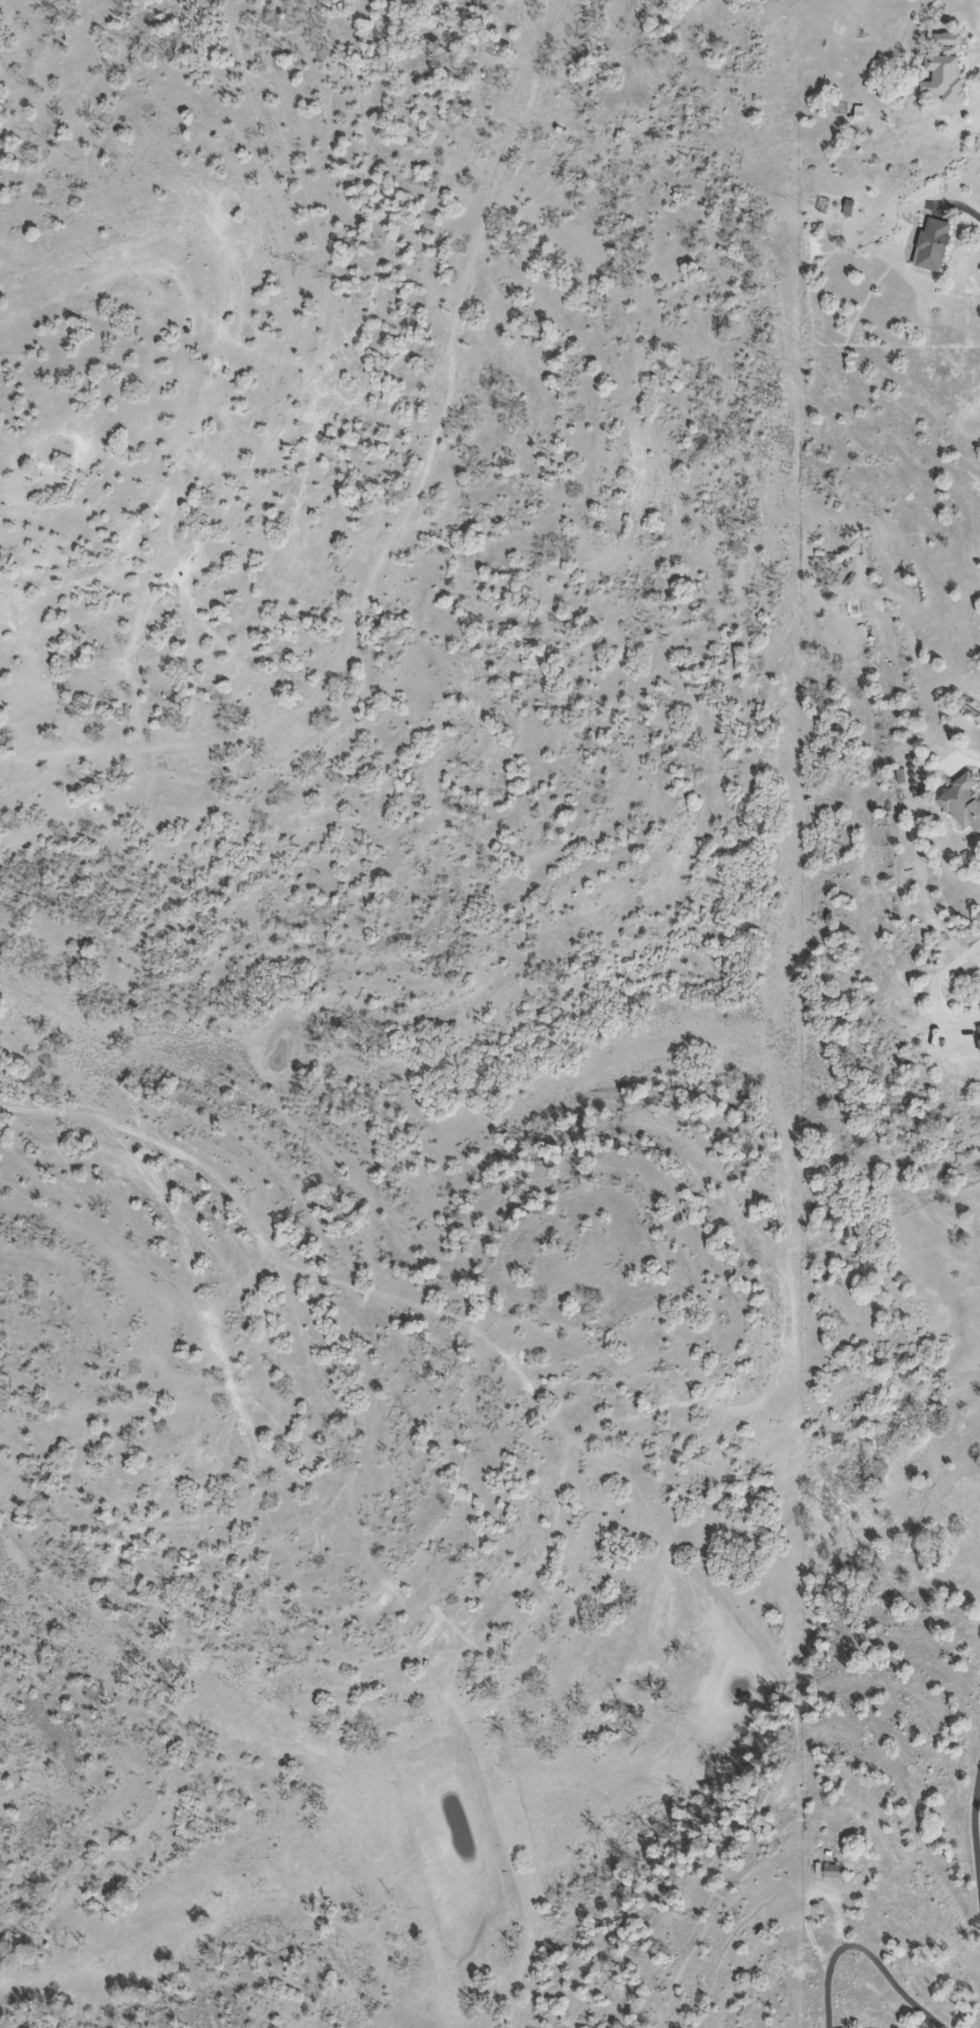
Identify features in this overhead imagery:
building: (947, 70)
road: (976, 126)
road: (966, 201)
building: (937, 245)
building: (964, 801)
road: (941, 976)
road: (976, 1829)
building: (837, 1871)
road: (865, 1952)

